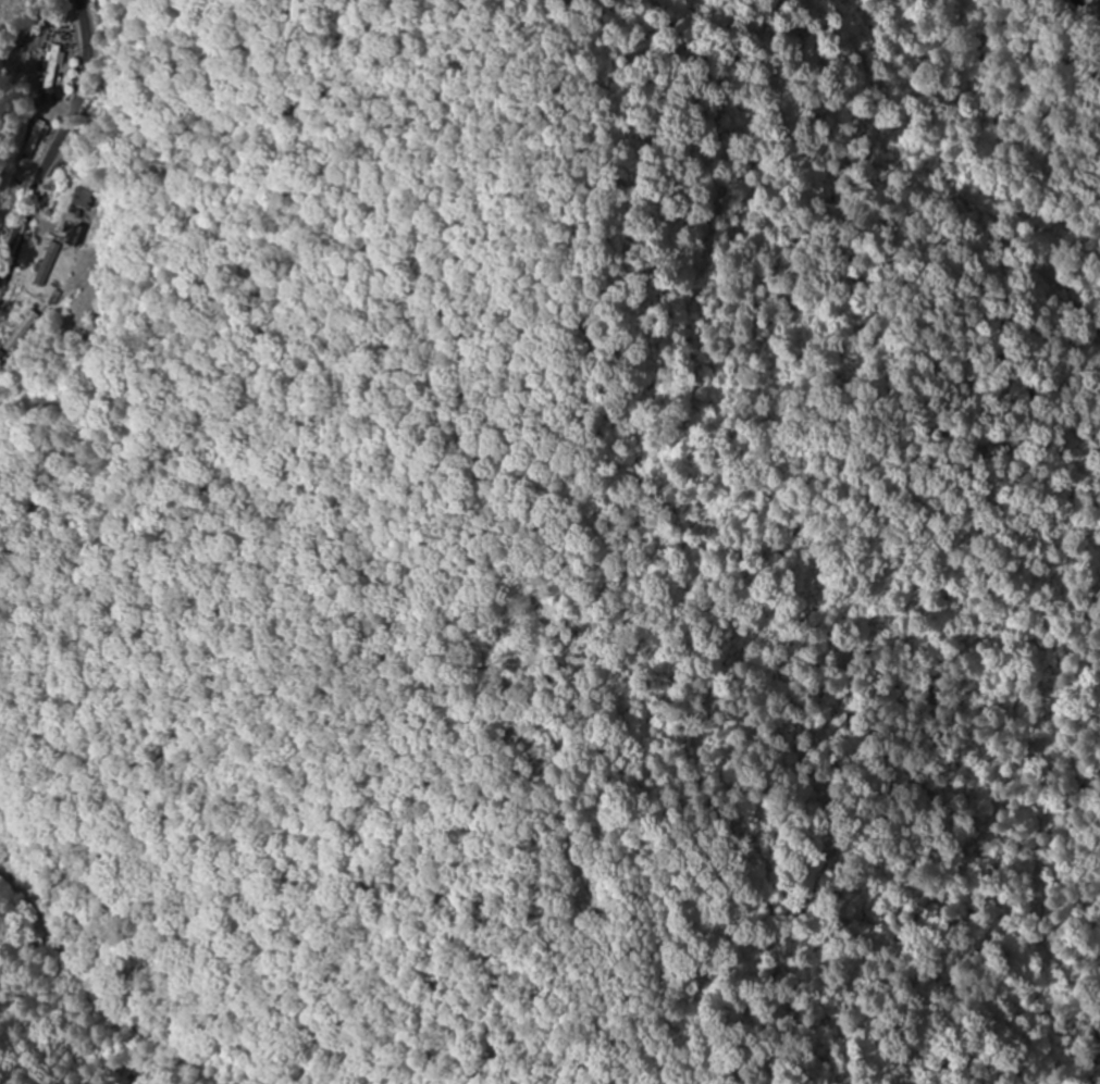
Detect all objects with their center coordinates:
road: (1079, 21)
road: (18, 57)
building: (36, 138)
building: (87, 199)
building: (46, 265)
building: (25, 332)

